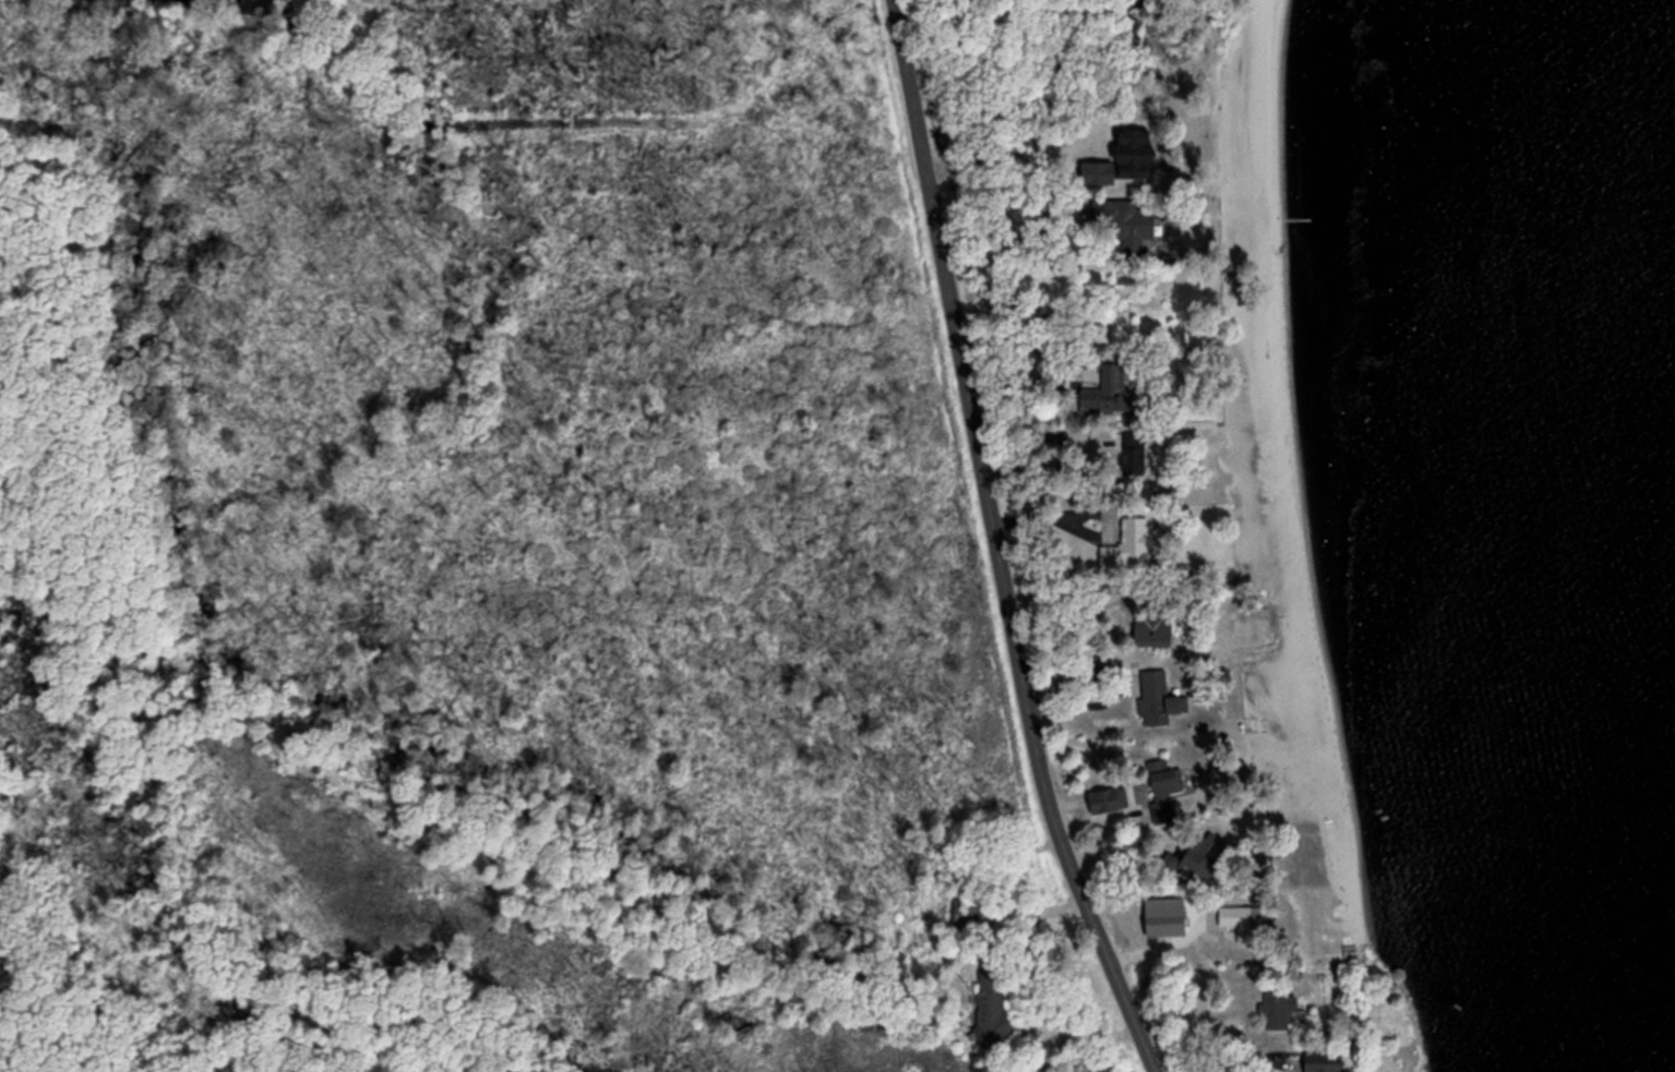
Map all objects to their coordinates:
building: (1125, 224)
building: (1103, 392)
building: (1130, 450)
road: (993, 543)
building: (1125, 543)
building: (1150, 629)
building: (1150, 694)
building: (1163, 792)
building: (1193, 852)
building: (969, 906)
building: (1230, 915)
road: (1165, 949)
building: (1275, 1001)
building: (986, 1019)
building: (1319, 1061)

